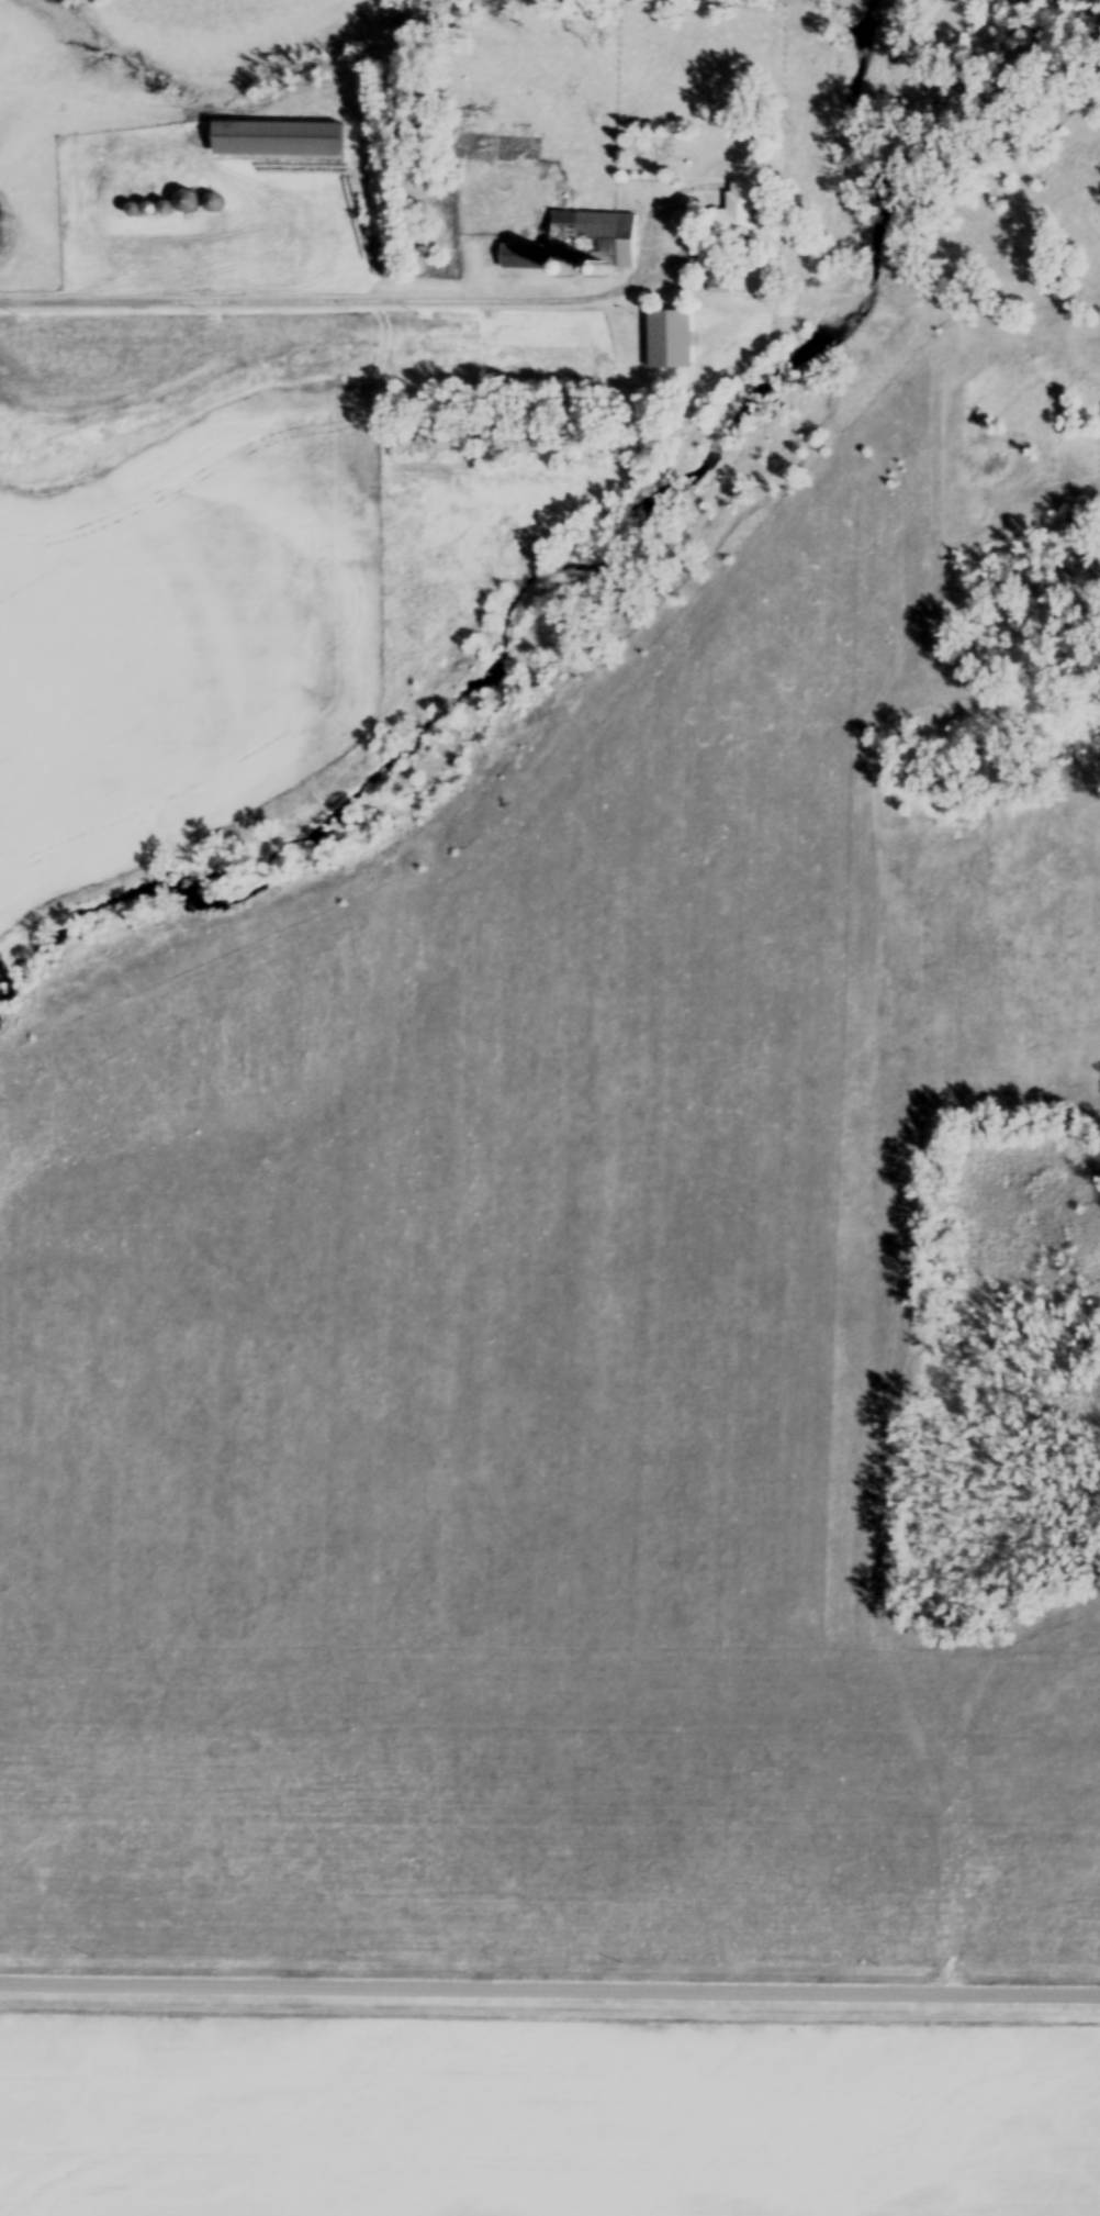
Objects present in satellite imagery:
building: (278, 142)
building: (501, 149)
building: (736, 212)
building: (616, 242)
road: (394, 296)
building: (670, 339)
road: (549, 1985)

